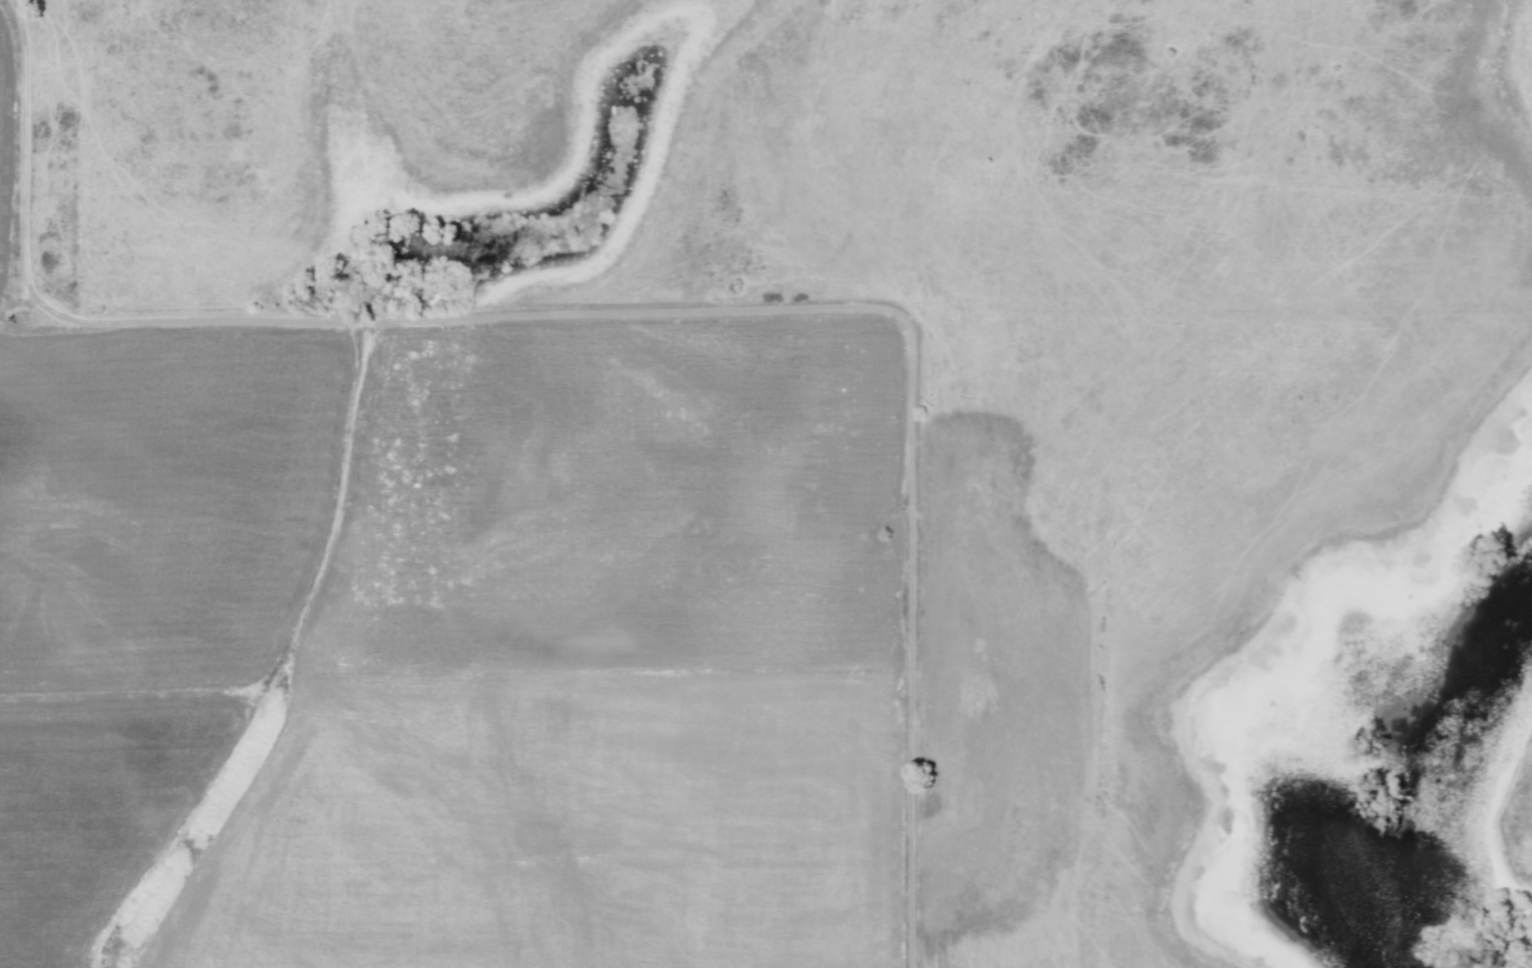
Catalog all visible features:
crop: (705, 457)

